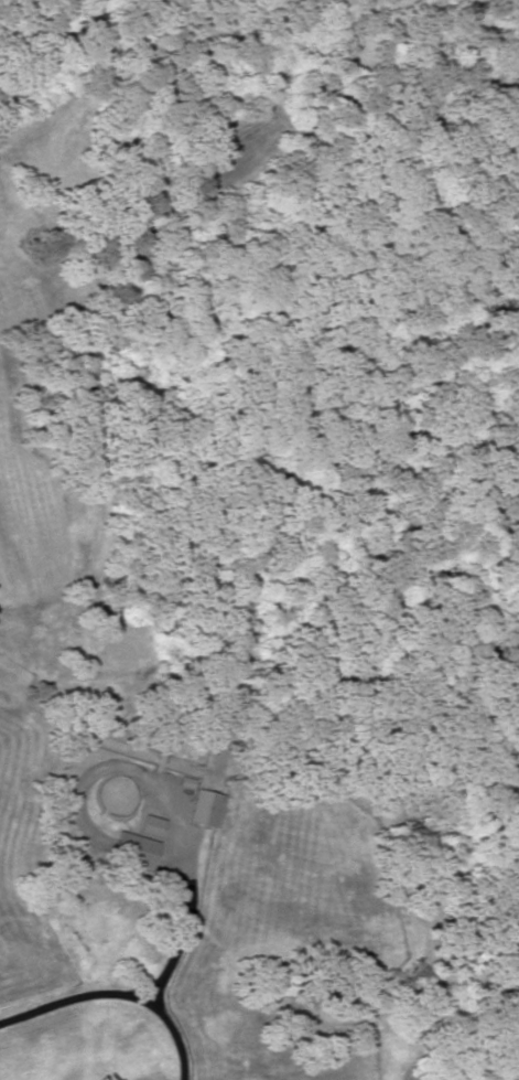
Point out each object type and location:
building: (201, 809)
building: (147, 826)
building: (128, 851)

